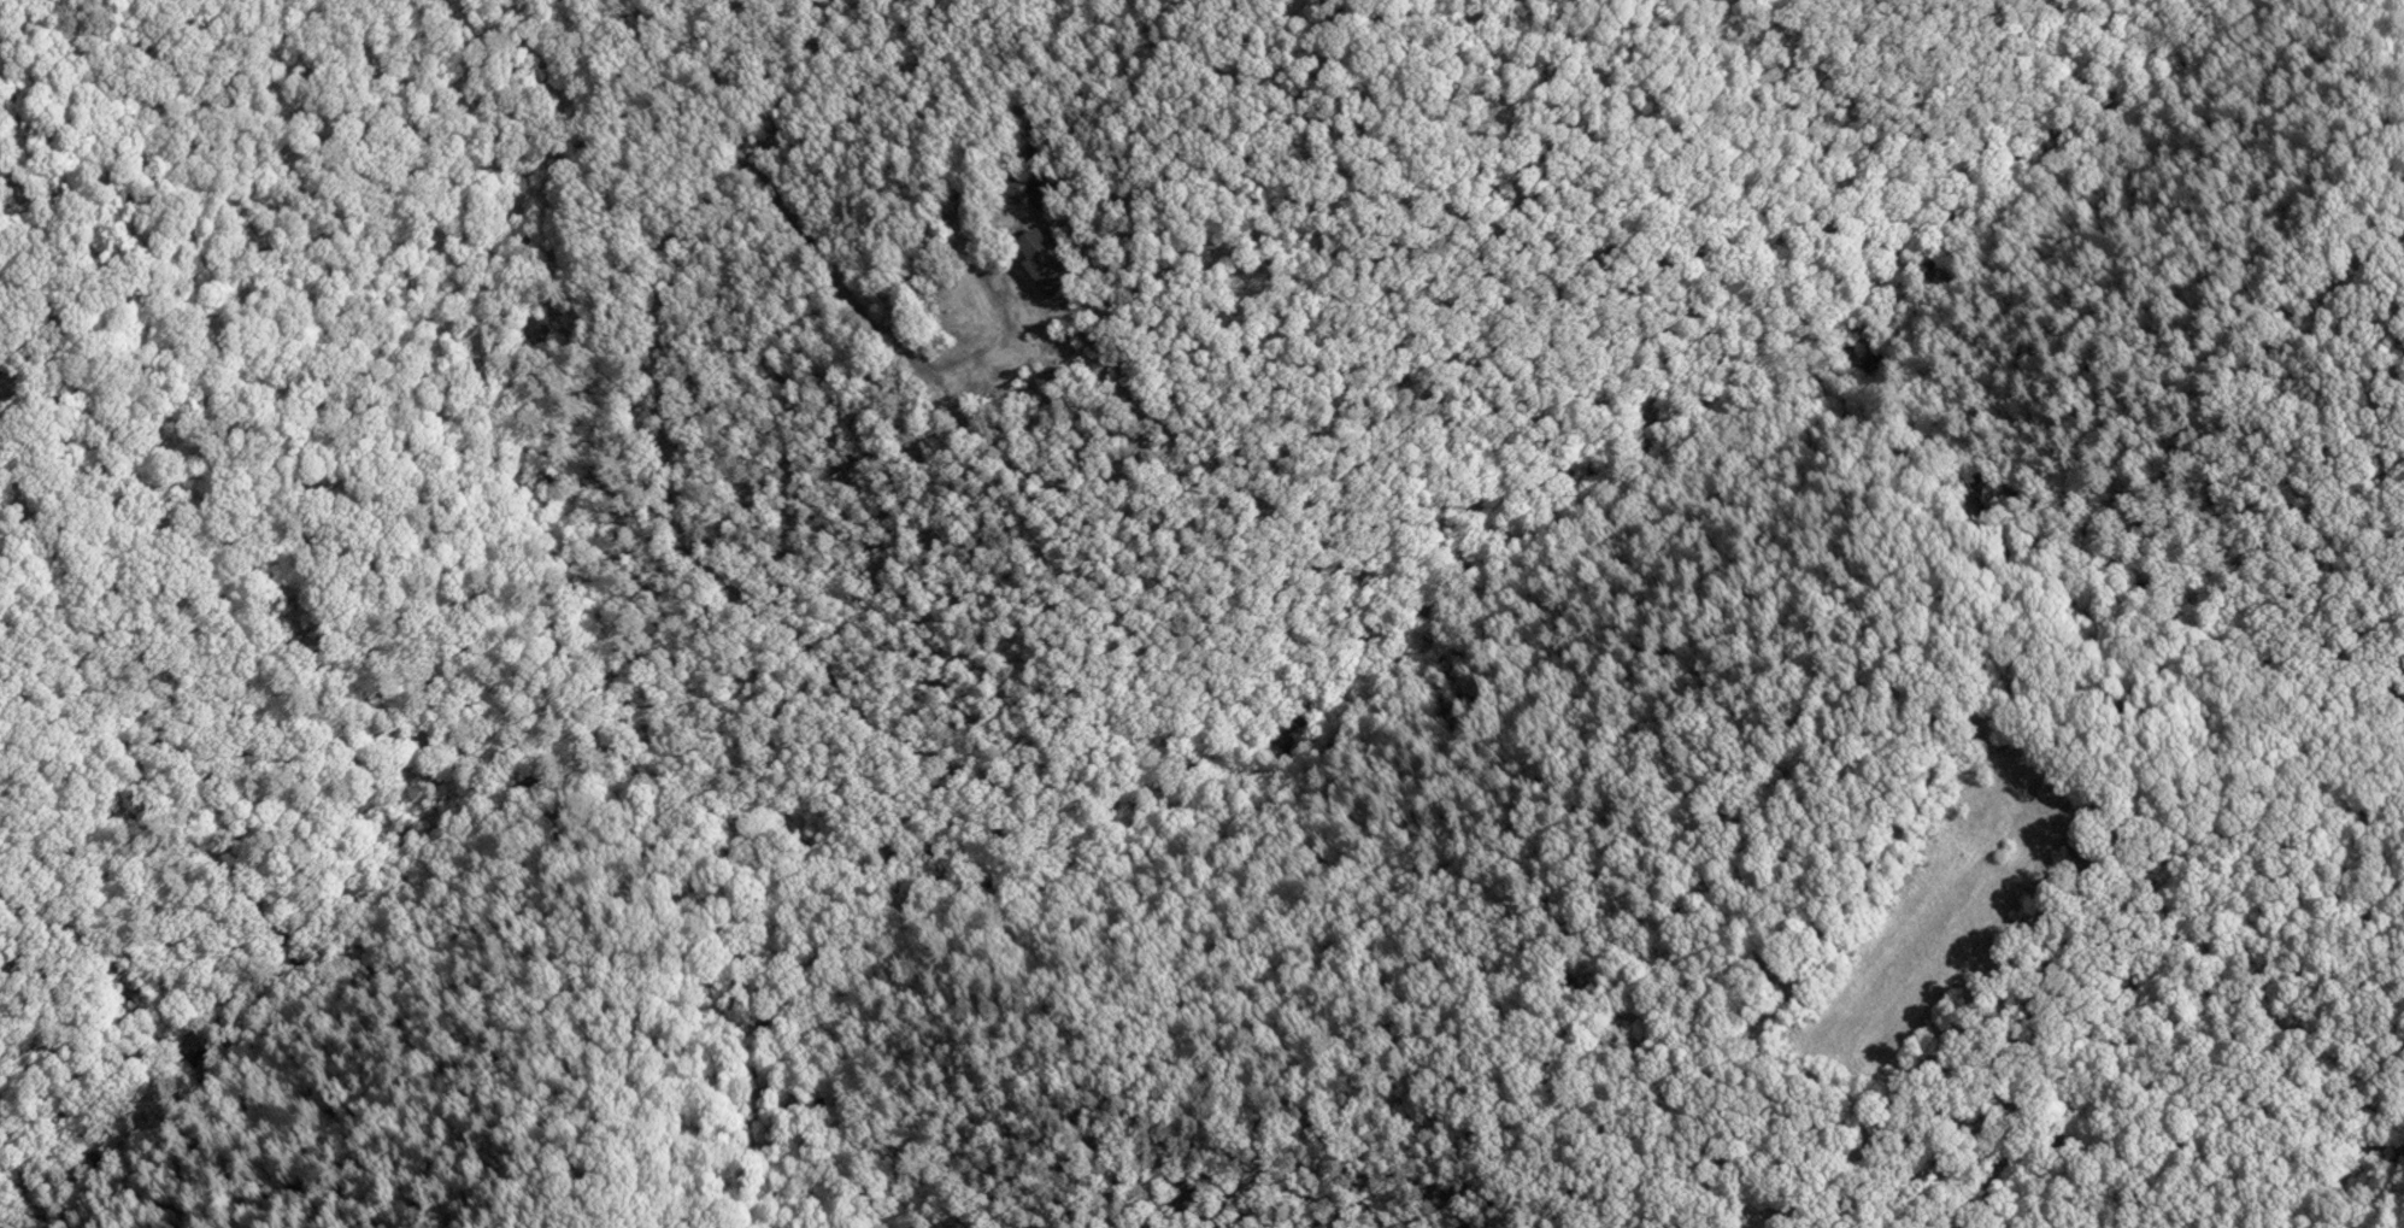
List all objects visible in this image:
building: (1012, 190)
building: (1050, 266)

